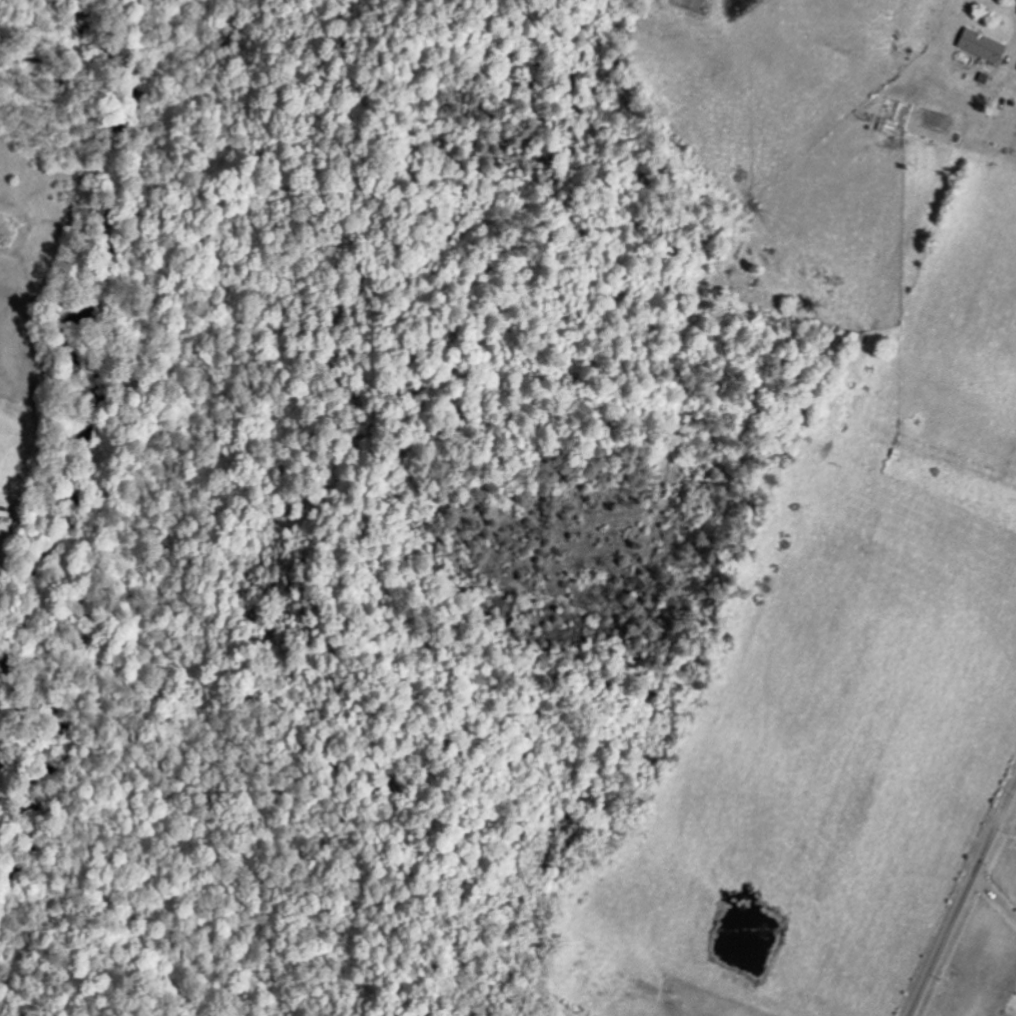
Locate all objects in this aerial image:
building: (981, 45)
building: (886, 124)
road: (962, 900)

